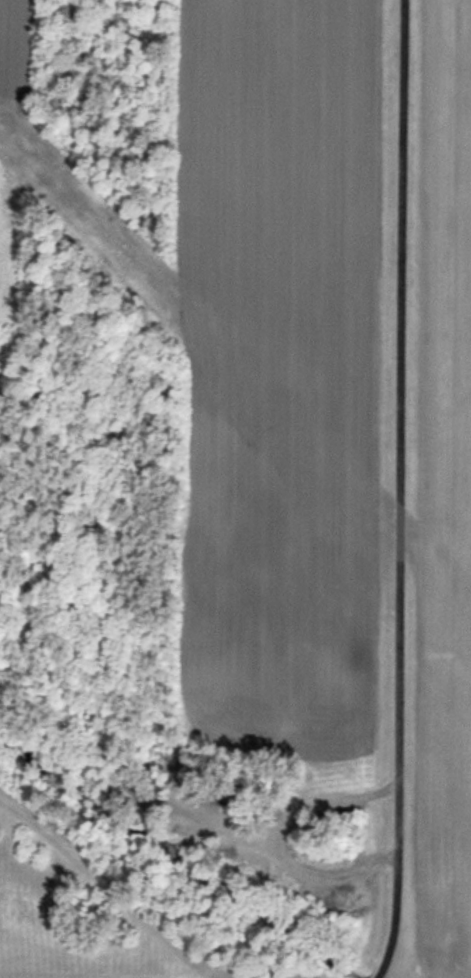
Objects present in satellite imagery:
crop: (329, 404)
road: (394, 486)
road: (377, 974)

